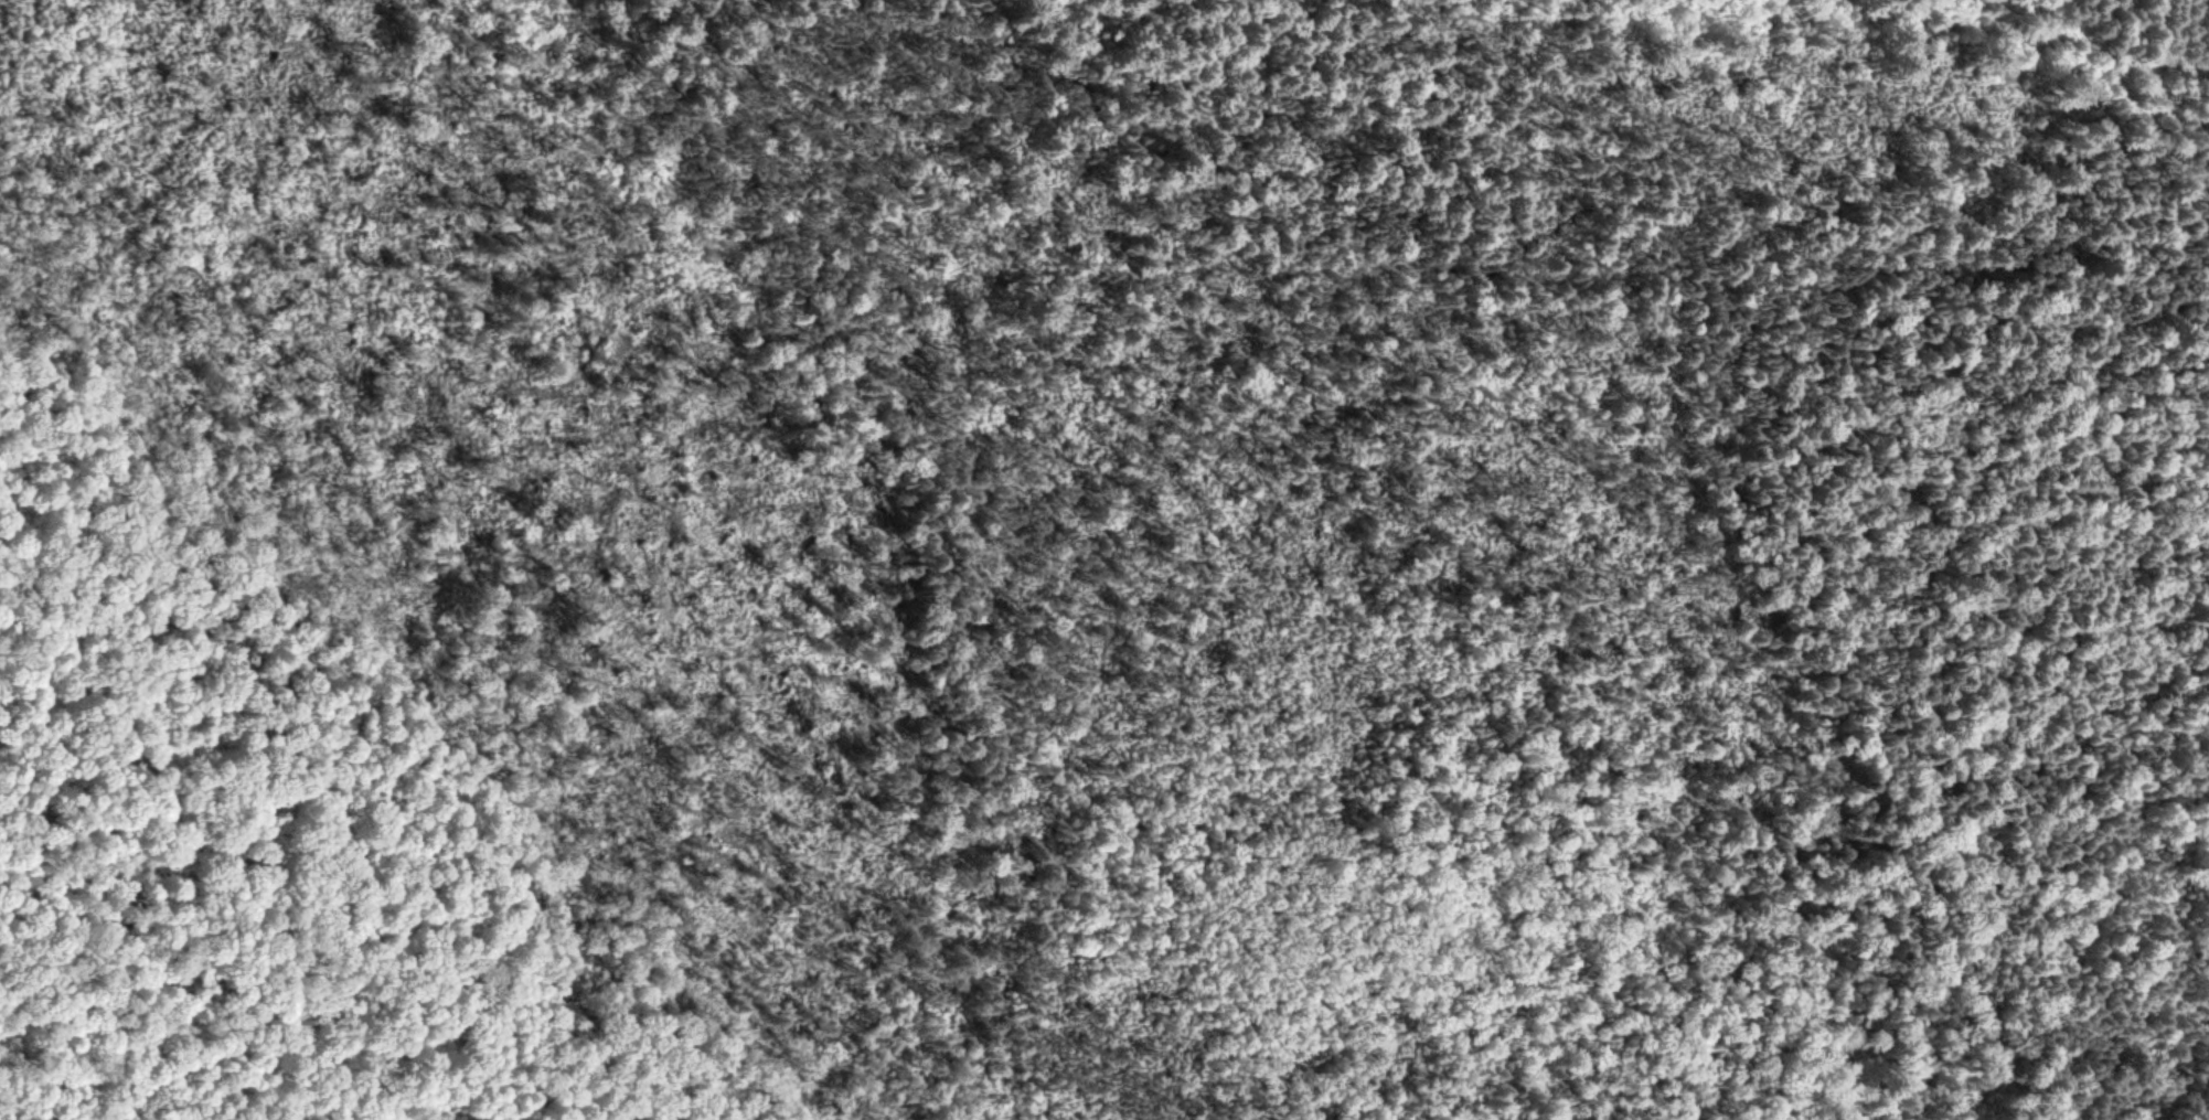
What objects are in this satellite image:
road: (178, 842)

